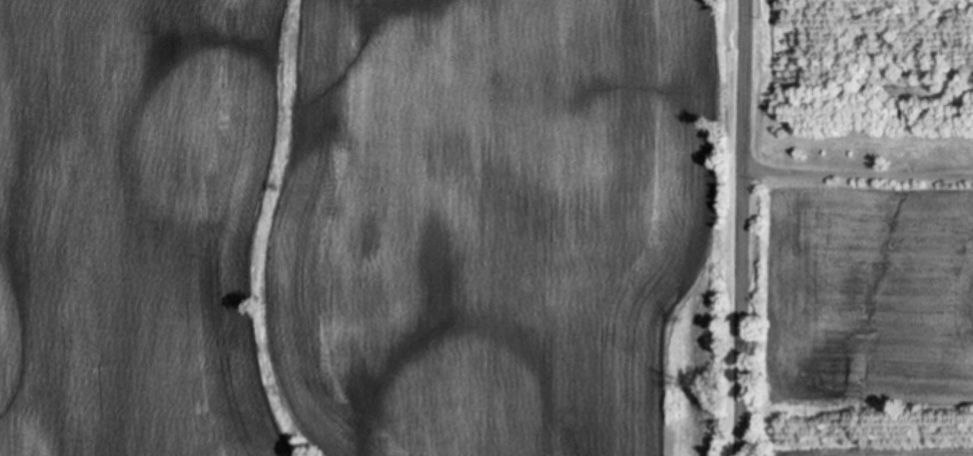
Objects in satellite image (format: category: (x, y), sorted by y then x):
road: (860, 162)
road: (746, 227)

